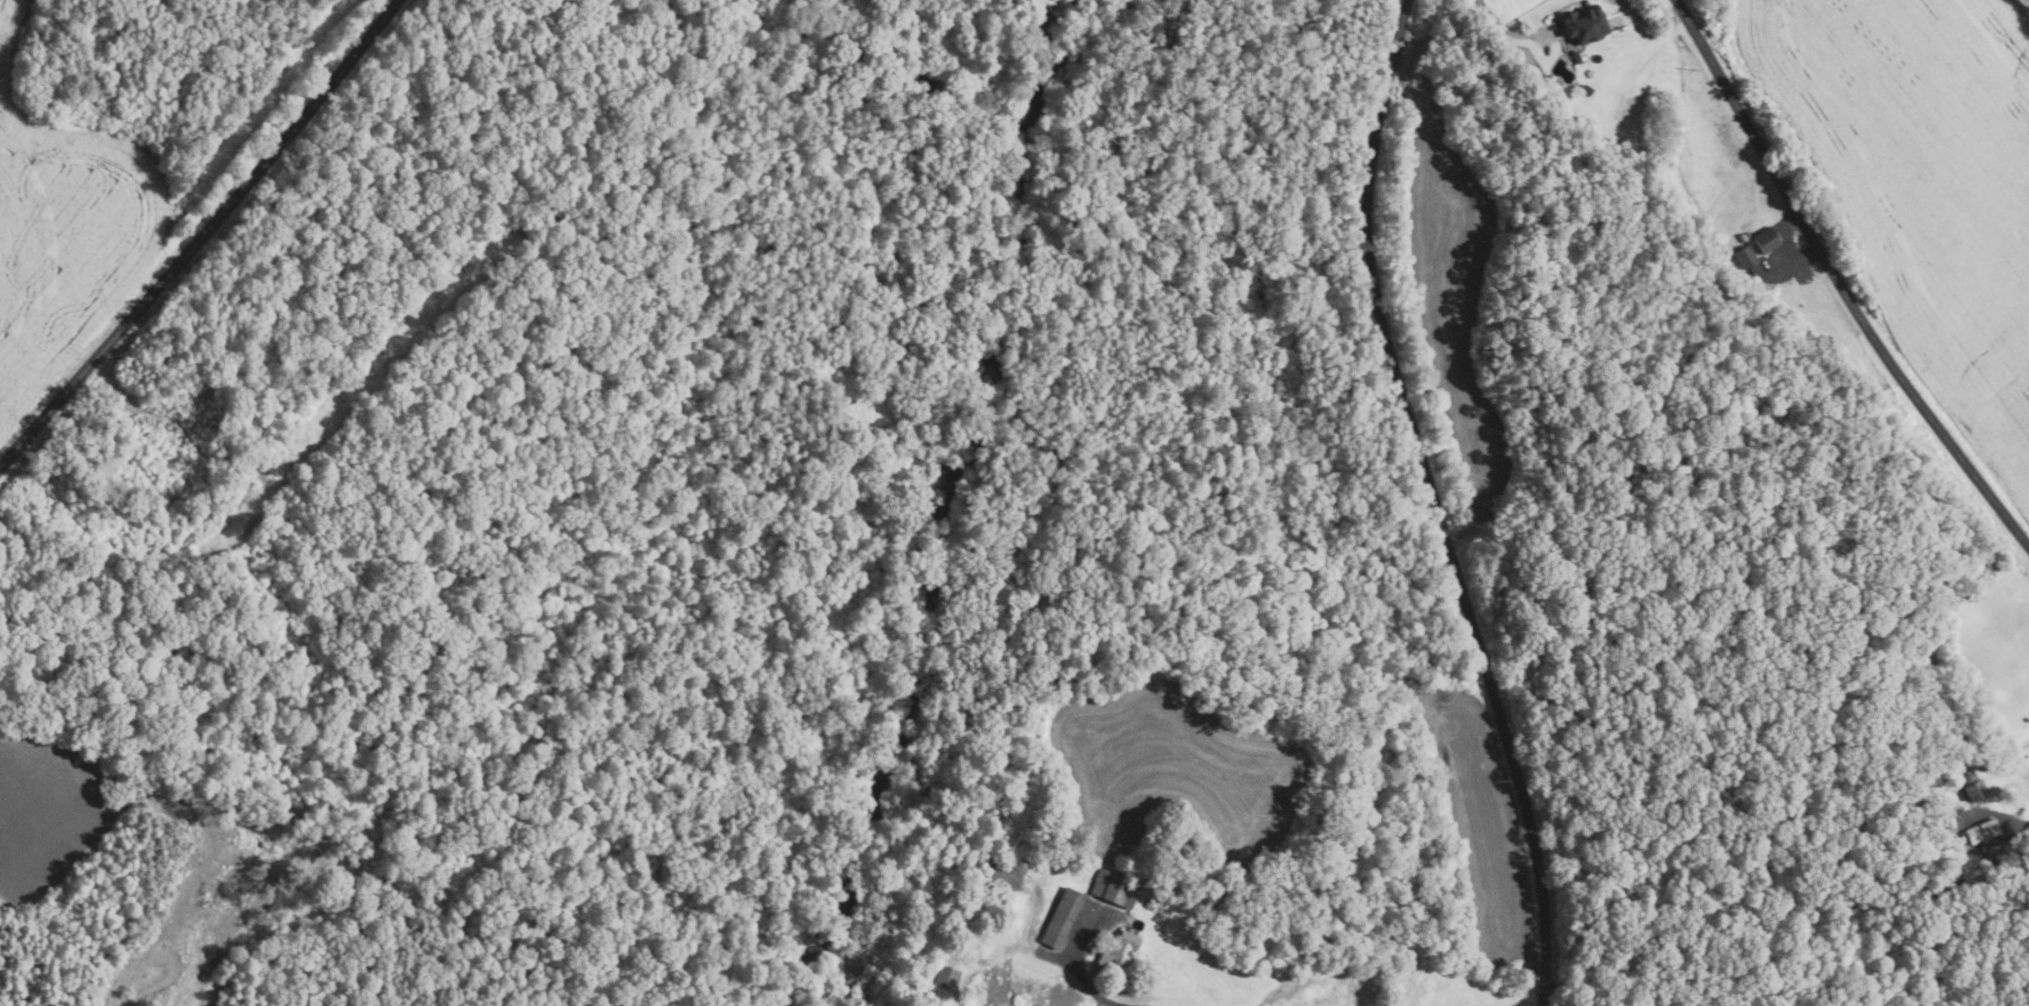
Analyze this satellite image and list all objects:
building: (1585, 24)
road: (1500, 25)
building: (1576, 57)
building: (1586, 89)
building: (1564, 117)
crop: (1921, 182)
crop: (65, 235)
road: (203, 236)
building: (1766, 240)
building: (1751, 241)
building: (1747, 244)
road: (1798, 262)
road: (1839, 281)
crop: (1452, 282)
road: (1436, 503)
building: (1972, 784)
building: (1947, 813)
building: (1950, 822)
building: (1981, 830)
building: (1114, 887)
building: (1061, 917)
building: (1121, 951)
building: (946, 977)
road: (1093, 980)
road: (1586, 988)

